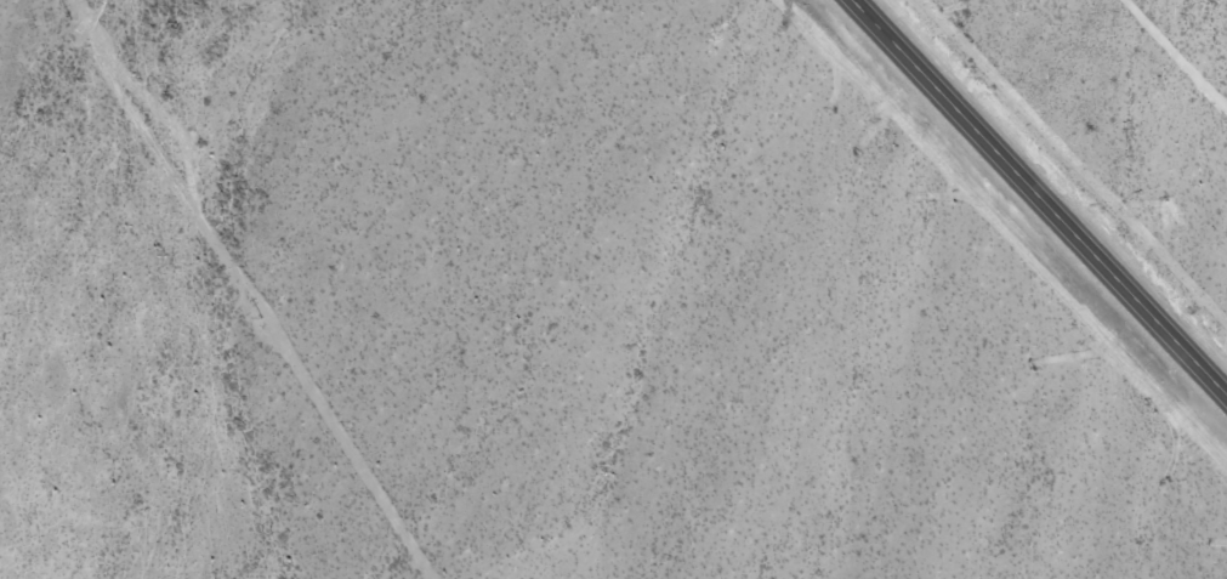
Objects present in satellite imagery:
road: (1046, 191)

